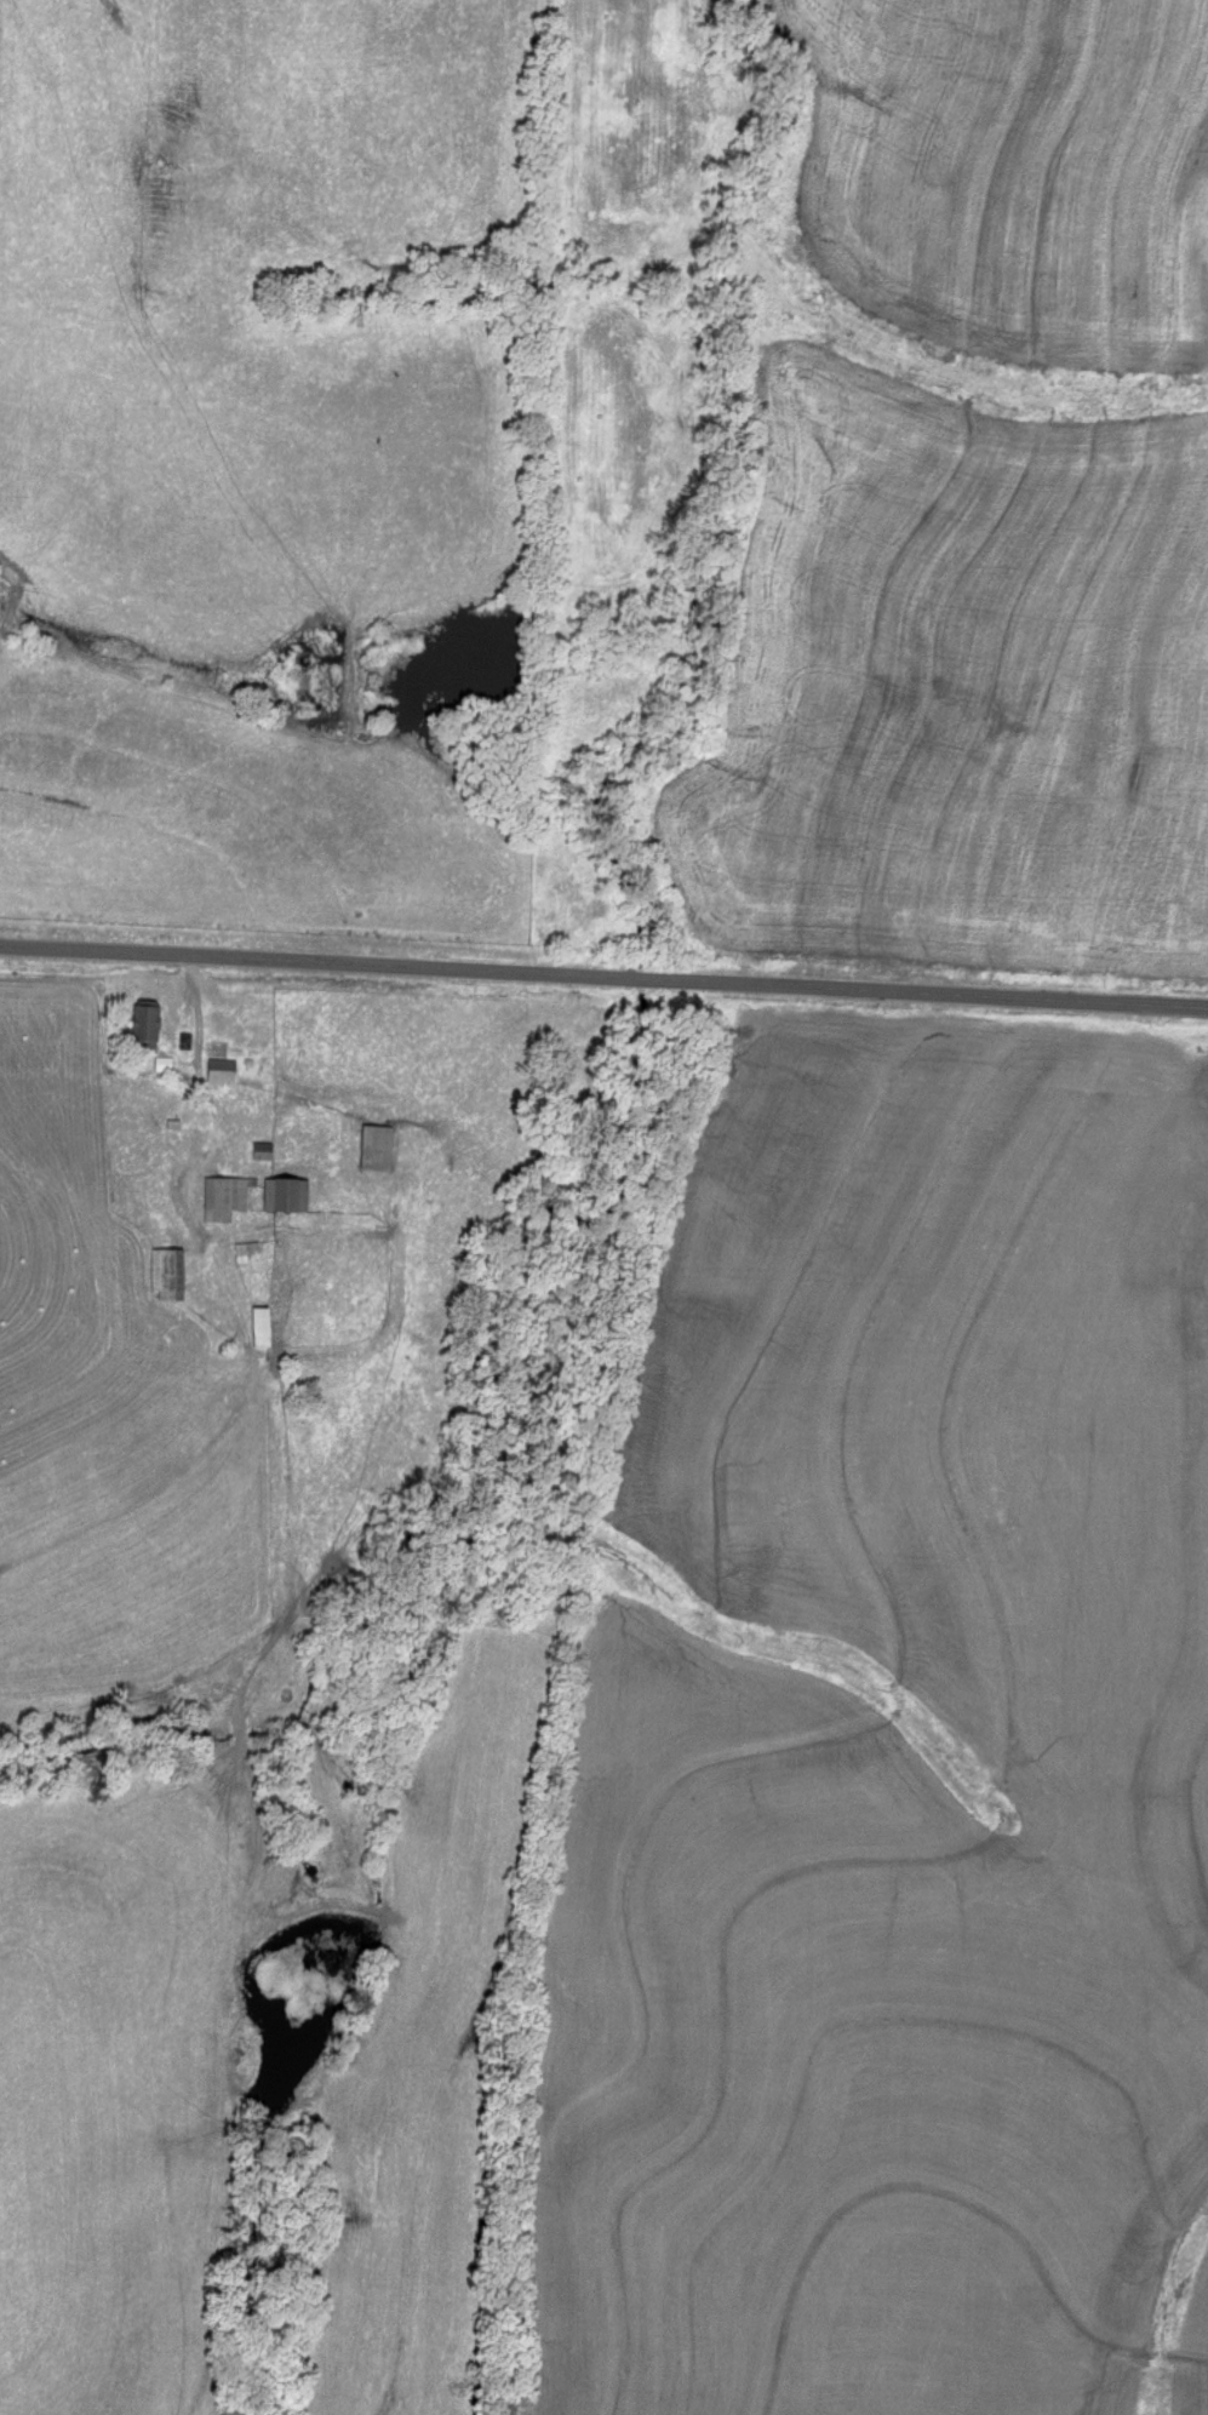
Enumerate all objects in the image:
road: (603, 977)
building: (149, 1021)
building: (223, 1070)
building: (377, 1146)
building: (263, 1150)
building: (287, 1194)
building: (224, 1197)
building: (1192, 1267)
building: (168, 1272)
building: (263, 1326)

